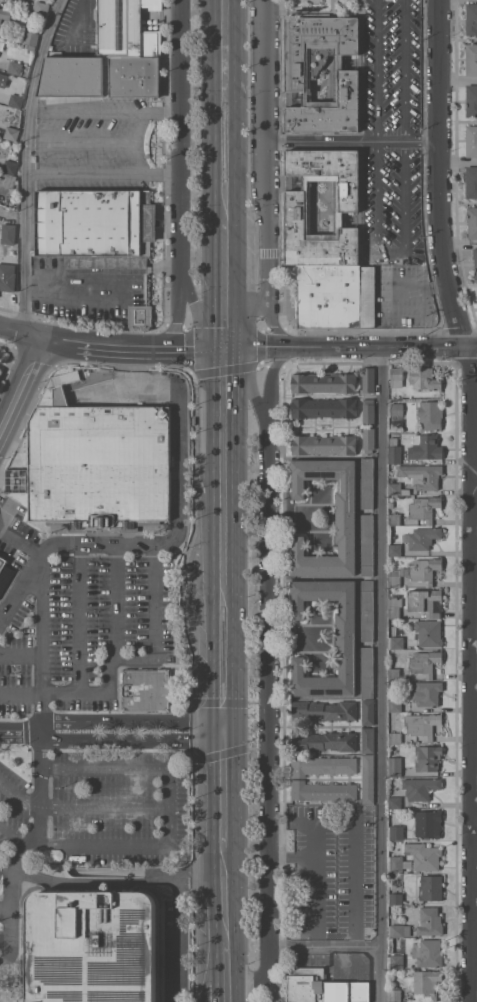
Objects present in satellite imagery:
road: (223, 3)
road: (225, 3)
building: (42, 7)
building: (5, 13)
building: (471, 18)
building: (126, 29)
building: (31, 37)
road: (224, 43)
building: (1, 44)
building: (471, 59)
building: (15, 67)
road: (376, 72)
road: (405, 73)
building: (102, 76)
building: (295, 78)
building: (23, 84)
building: (15, 100)
building: (471, 100)
road: (103, 111)
road: (138, 127)
building: (11, 133)
road: (223, 140)
building: (471, 141)
road: (96, 143)
road: (354, 145)
road: (25, 162)
building: (10, 164)
road: (101, 172)
road: (179, 174)
road: (269, 177)
building: (7, 179)
building: (471, 181)
road: (438, 194)
road: (377, 199)
building: (295, 200)
road: (406, 200)
building: (472, 222)
building: (96, 227)
building: (8, 233)
road: (459, 241)
road: (392, 254)
building: (475, 260)
road: (222, 274)
building: (7, 278)
building: (335, 295)
road: (195, 307)
building: (140, 315)
road: (241, 319)
road: (18, 330)
road: (130, 344)
traffic signals: (223, 348)
road: (349, 349)
building: (396, 373)
building: (424, 378)
building: (368, 379)
road: (20, 381)
building: (324, 382)
road: (246, 388)
building: (323, 407)
building: (396, 409)
building: (368, 411)
building: (430, 414)
building: (368, 439)
building: (324, 444)
building: (425, 447)
building: (394, 451)
building: (96, 462)
road: (222, 468)
building: (422, 475)
building: (15, 480)
building: (367, 482)
building: (397, 488)
road: (178, 496)
building: (425, 507)
building: (346, 516)
building: (395, 519)
building: (422, 537)
road: (20, 542)
building: (367, 544)
building: (395, 549)
building: (2, 562)
building: (425, 569)
building: (396, 576)
road: (116, 600)
building: (426, 601)
road: (10, 603)
building: (394, 605)
building: (367, 609)
road: (79, 618)
road: (41, 623)
building: (428, 632)
building: (346, 637)
building: (397, 642)
road: (20, 653)
road: (138, 658)
road: (221, 658)
building: (425, 662)
building: (367, 671)
building: (394, 673)
road: (379, 676)
road: (269, 681)
building: (145, 689)
road: (20, 691)
building: (427, 692)
building: (395, 705)
building: (325, 709)
road: (40, 711)
building: (368, 711)
road: (129, 721)
building: (423, 724)
road: (20, 727)
traffic signals: (221, 728)
building: (395, 737)
road: (130, 739)
building: (368, 739)
building: (325, 741)
road: (474, 742)
building: (428, 757)
building: (322, 765)
building: (395, 765)
road: (142, 767)
building: (368, 778)
road: (40, 787)
road: (221, 787)
building: (420, 787)
building: (322, 790)
road: (20, 793)
building: (395, 802)
road: (103, 808)
building: (428, 823)
building: (397, 832)
road: (13, 836)
road: (103, 845)
road: (286, 849)
building: (424, 855)
road: (333, 857)
building: (399, 863)
road: (5, 869)
road: (11, 875)
road: (359, 877)
road: (115, 880)
building: (431, 886)
road: (221, 889)
road: (303, 897)
building: (396, 898)
road: (5, 913)
building: (429, 921)
building: (400, 930)
road: (5, 932)
road: (174, 941)
road: (286, 943)
building: (92, 945)
road: (8, 949)
building: (429, 952)
road: (221, 959)
building: (396, 960)
building: (426, 984)
building: (322, 987)
power substation: (323, 987)
road: (221, 993)
building: (394, 994)
building: (399, 1001)

